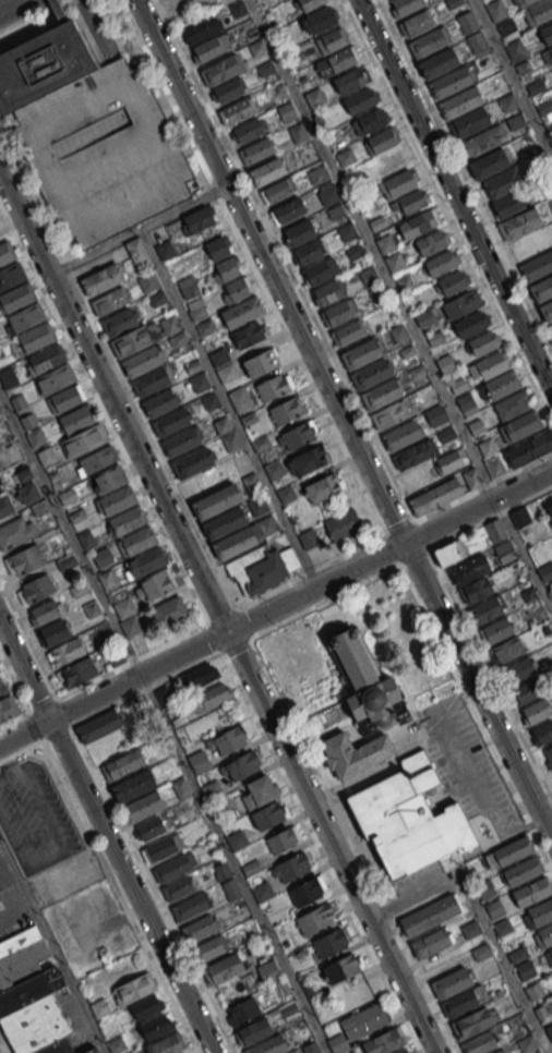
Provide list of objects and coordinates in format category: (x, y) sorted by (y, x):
building: (524, 2)
road: (8, 4)
building: (307, 4)
building: (170, 5)
building: (405, 5)
road: (14, 7)
building: (496, 10)
building: (538, 12)
road: (37, 19)
building: (320, 19)
building: (418, 22)
building: (468, 22)
building: (505, 25)
building: (547, 33)
building: (332, 39)
building: (477, 40)
building: (428, 43)
building: (207, 48)
building: (256, 48)
building: (515, 50)
building: (548, 56)
building: (335, 62)
building: (439, 62)
building: (41, 65)
building: (524, 66)
building: (265, 68)
building: (220, 70)
building: (349, 80)
road: (512, 80)
building: (449, 83)
building: (536, 86)
building: (227, 89)
building: (358, 100)
building: (507, 101)
building: (459, 102)
building: (544, 106)
building: (235, 110)
building: (287, 110)
building: (368, 121)
building: (471, 121)
building: (516, 121)
building: (549, 128)
building: (248, 130)
building: (298, 133)
building: (380, 140)
building: (256, 150)
building: (391, 162)
building: (489, 162)
building: (266, 171)
building: (317, 173)
road: (465, 174)
building: (504, 182)
building: (397, 184)
building: (277, 190)
building: (328, 195)
road: (454, 197)
building: (411, 201)
building: (507, 203)
building: (550, 203)
building: (287, 210)
road: (446, 213)
building: (197, 219)
building: (376, 222)
building: (417, 223)
building: (519, 223)
road: (136, 230)
building: (347, 231)
building: (299, 232)
building: (431, 241)
building: (385, 243)
building: (218, 247)
road: (371, 249)
building: (136, 250)
building: (165, 250)
building: (309, 251)
building: (355, 251)
building: (5, 252)
road: (286, 259)
building: (394, 262)
building: (440, 263)
building: (537, 266)
road: (251, 267)
building: (227, 269)
building: (320, 270)
building: (11, 275)
building: (369, 275)
building: (101, 279)
building: (148, 281)
building: (454, 282)
building: (542, 287)
building: (236, 289)
building: (190, 290)
building: (329, 291)
building: (16, 296)
building: (156, 298)
building: (110, 301)
building: (461, 304)
building: (547, 311)
building: (196, 312)
building: (242, 312)
building: (338, 312)
building: (25, 317)
building: (424, 318)
building: (120, 320)
building: (471, 323)
building: (205, 326)
building: (349, 331)
building: (549, 331)
building: (399, 332)
building: (245, 335)
building: (35, 337)
building: (435, 338)
building: (131, 341)
building: (484, 342)
building: (360, 353)
building: (218, 355)
building: (46, 359)
building: (141, 361)
building: (260, 362)
building: (445, 363)
building: (489, 365)
road: (118, 372)
building: (227, 372)
building: (370, 374)
building: (8, 376)
building: (56, 378)
building: (151, 382)
building: (197, 382)
building: (457, 384)
building: (502, 384)
building: (273, 386)
building: (381, 395)
building: (64, 399)
building: (239, 399)
building: (211, 400)
building: (19, 401)
building: (159, 402)
building: (466, 403)
building: (512, 404)
road: (228, 408)
building: (286, 410)
building: (391, 414)
road: (104, 415)
building: (436, 415)
building: (77, 419)
building: (28, 421)
road: (343, 421)
building: (171, 422)
building: (223, 423)
building: (476, 426)
building: (520, 426)
building: (298, 435)
building: (400, 435)
building: (35, 436)
building: (84, 440)
building: (180, 441)
building: (230, 441)
building: (487, 447)
building: (528, 449)
building: (415, 453)
building: (46, 456)
building: (98, 459)
building: (309, 459)
building: (451, 460)
building: (192, 462)
building: (495, 467)
building: (273, 469)
building: (109, 477)
building: (251, 480)
building: (0, 482)
road: (483, 484)
building: (322, 487)
building: (0, 489)
building: (286, 493)
building: (442, 493)
building: (67, 496)
building: (117, 499)
building: (217, 501)
building: (4, 505)
building: (257, 505)
building: (549, 510)
building: (519, 517)
road: (491, 519)
building: (127, 520)
road: (413, 520)
building: (224, 522)
building: (343, 523)
building: (267, 524)
building: (15, 532)
road: (69, 534)
building: (308, 538)
building: (136, 541)
building: (233, 543)
road: (391, 549)
building: (449, 552)
road: (524, 555)
road: (413, 557)
building: (24, 559)
building: (146, 560)
building: (65, 562)
building: (482, 565)
building: (260, 568)
road: (309, 571)
building: (154, 584)
building: (37, 588)
road: (275, 606)
building: (123, 607)
building: (91, 608)
building: (485, 609)
building: (167, 612)
building: (44, 613)
road: (220, 613)
road: (329, 614)
road: (221, 616)
road: (242, 624)
building: (130, 626)
building: (496, 630)
building: (52, 632)
road: (214, 637)
road: (29, 639)
road: (236, 645)
road: (437, 645)
building: (506, 650)
building: (68, 651)
road: (132, 659)
building: (518, 669)
building: (76, 670)
road: (491, 673)
building: (201, 675)
road: (15, 680)
building: (364, 682)
building: (2, 688)
building: (527, 690)
building: (163, 695)
building: (211, 697)
road: (44, 705)
building: (8, 709)
building: (536, 711)
road: (15, 718)
building: (100, 726)
building: (542, 733)
building: (226, 740)
building: (351, 752)
building: (548, 757)
building: (123, 764)
building: (240, 765)
road: (284, 778)
building: (133, 786)
building: (181, 787)
building: (212, 790)
building: (256, 791)
flagpole: (336, 795)
road: (475, 797)
building: (142, 806)
building: (268, 814)
building: (407, 818)
building: (151, 828)
road: (107, 834)
building: (283, 839)
road: (352, 846)
building: (163, 847)
road: (360, 847)
building: (512, 850)
road: (232, 863)
building: (292, 866)
building: (175, 867)
building: (523, 871)
road: (110, 874)
road: (147, 874)
building: (177, 888)
building: (307, 889)
building: (531, 891)
building: (190, 906)
building: (541, 911)
building: (429, 915)
road: (481, 917)
building: (313, 919)
building: (502, 927)
building: (199, 928)
building: (470, 929)
building: (545, 934)
building: (329, 942)
building: (432, 942)
building: (209, 947)
road: (51, 948)
building: (481, 952)
building: (550, 952)
building: (517, 954)
building: (343, 967)
building: (224, 968)
building: (525, 969)
building: (268, 971)
building: (452, 982)
building: (134, 988)
building: (236, 988)
building: (533, 991)
building: (31, 996)
building: (461, 1002)
building: (146, 1006)
building: (242, 1010)
building: (363, 1020)
building: (472, 1022)
building: (156, 1026)
building: (253, 1031)
building: (549, 1031)
building: (384, 1041)
road: (4, 1042)
building: (337, 1042)
building: (480, 1042)
building: (526, 1043)
building: (167, 1044)
building: (268, 1045)
building: (311, 1048)
building: (92, 1050)
building: (406, 1050)
building: (496, 1051)
building: (352, 1052)

